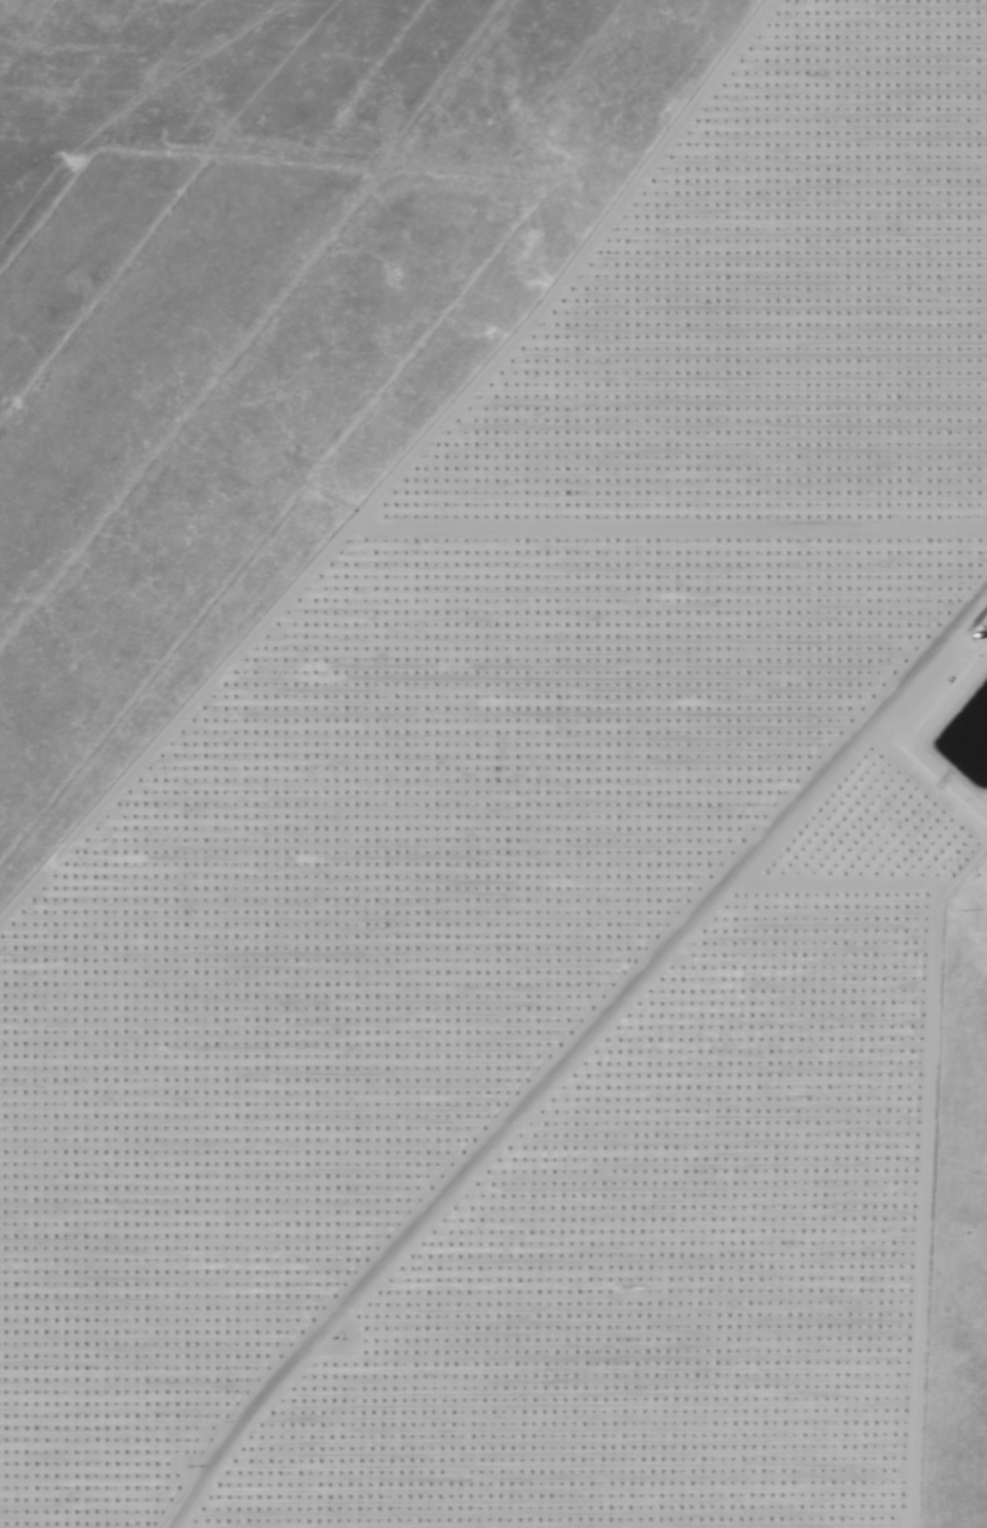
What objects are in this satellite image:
crop: (770, 305)
crop: (871, 841)
crop: (368, 950)
crop: (649, 1276)

